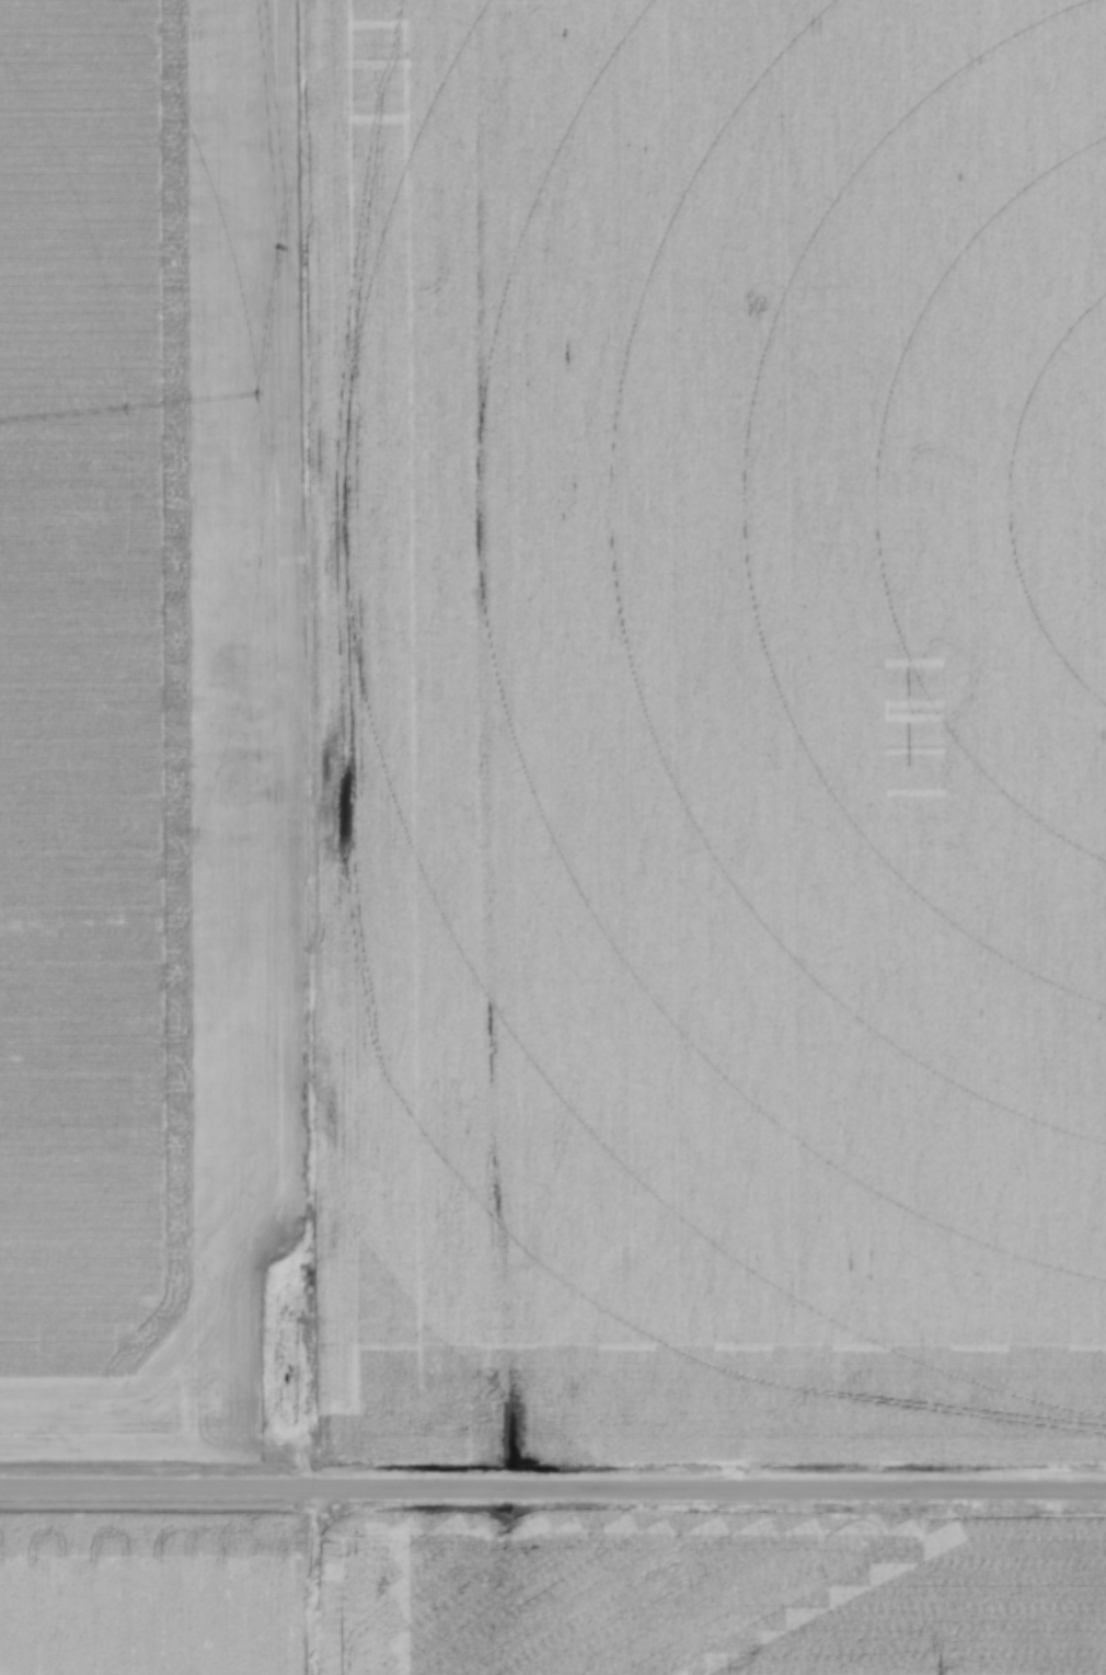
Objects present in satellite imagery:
road: (553, 1491)

